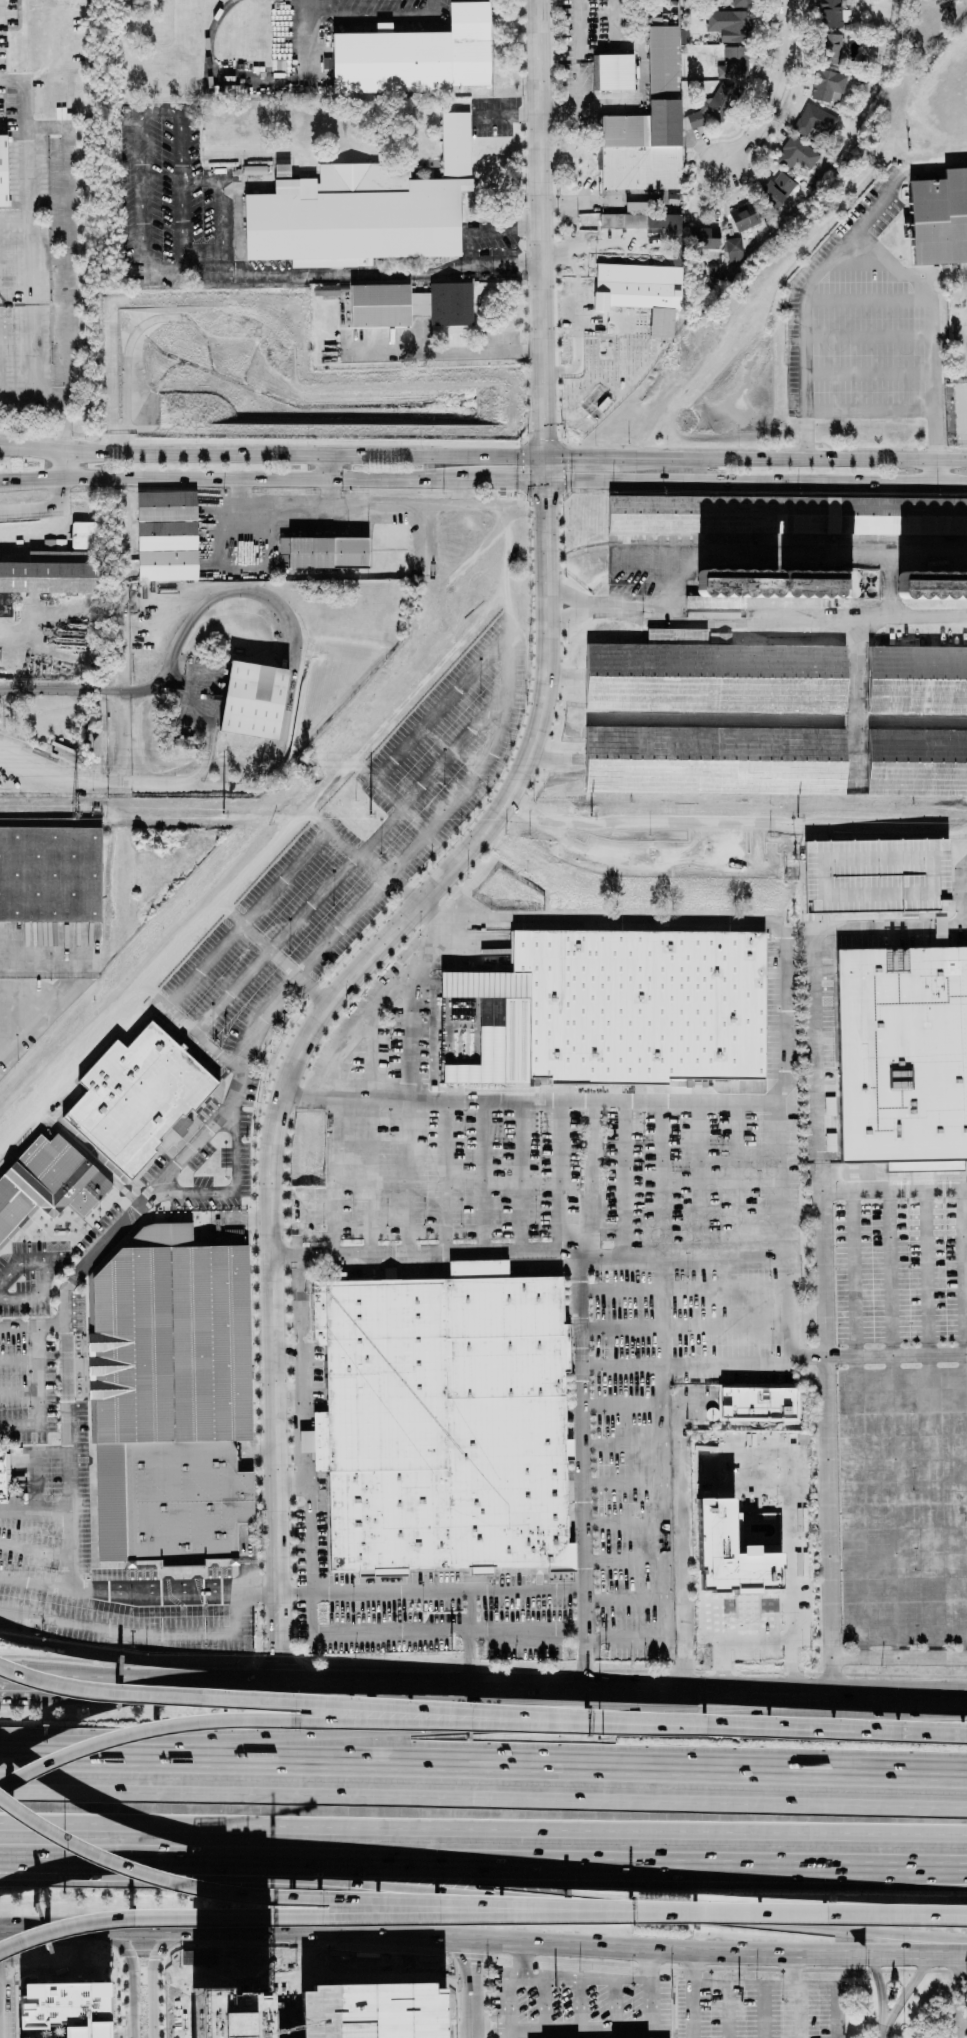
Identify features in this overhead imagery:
building: (743, 2)
building: (830, 13)
road: (367, 22)
building: (730, 25)
building: (830, 48)
building: (410, 58)
building: (734, 62)
building: (615, 71)
road: (237, 76)
building: (828, 85)
road: (778, 93)
building: (717, 102)
road: (574, 106)
building: (815, 121)
road: (889, 125)
building: (643, 127)
building: (796, 154)
building: (3, 170)
road: (540, 174)
road: (196, 182)
building: (778, 188)
building: (643, 206)
building: (360, 211)
building: (744, 216)
building: (642, 221)
building: (940, 221)
road: (14, 226)
road: (488, 230)
road: (67, 242)
road: (29, 243)
building: (734, 249)
road: (201, 271)
road: (907, 271)
road: (575, 279)
building: (631, 284)
building: (322, 289)
road: (805, 292)
building: (403, 306)
road: (849, 347)
road: (878, 350)
road: (445, 351)
road: (575, 354)
road: (930, 379)
road: (17, 397)
road: (542, 402)
park: (961, 417)
road: (64, 424)
traffic signals: (544, 437)
road: (272, 455)
traffic signals: (570, 456)
road: (582, 456)
road: (793, 458)
road: (61, 465)
road: (326, 466)
road: (544, 468)
road: (234, 477)
road: (506, 480)
traffic signals: (520, 481)
road: (755, 481)
traffic signals: (545, 498)
road: (324, 506)
road: (44, 507)
building: (785, 514)
road: (544, 516)
building: (84, 535)
building: (166, 536)
building: (325, 552)
road: (791, 552)
building: (52, 571)
road: (888, 582)
building: (932, 584)
building: (773, 585)
road: (436, 589)
road: (509, 610)
road: (755, 610)
road: (285, 660)
building: (713, 675)
building: (917, 679)
building: (255, 701)
road: (440, 708)
road: (208, 713)
building: (714, 759)
building: (917, 761)
road: (326, 786)
road: (404, 811)
power tower: (75, 813)
power tower: (223, 813)
power tower: (369, 814)
power tower: (591, 815)
power tower: (798, 817)
road: (432, 821)
road: (341, 845)
parking lot: (347, 859)
road: (348, 863)
building: (50, 874)
building: (877, 876)
road: (966, 889)
road: (244, 918)
road: (596, 920)
road: (256, 941)
road: (42, 952)
road: (369, 1008)
building: (621, 1012)
road: (32, 1016)
road: (189, 1030)
road: (407, 1032)
building: (901, 1056)
road: (71, 1063)
road: (283, 1075)
building: (137, 1097)
road: (640, 1101)
road: (71, 1104)
road: (369, 1130)
road: (173, 1133)
road: (200, 1138)
road: (69, 1140)
road: (94, 1151)
parking lot: (521, 1154)
road: (329, 1173)
road: (407, 1175)
road: (442, 1175)
road: (482, 1175)
road: (518, 1175)
road: (557, 1175)
building: (38, 1178)
road: (659, 1180)
road: (698, 1180)
road: (734, 1180)
road: (592, 1181)
road: (621, 1181)
road: (137, 1185)
building: (82, 1189)
road: (123, 1190)
road: (232, 1191)
road: (897, 1191)
road: (149, 1196)
building: (6, 1223)
road: (293, 1224)
road: (67, 1238)
road: (602, 1261)
road: (964, 1271)
road: (888, 1272)
road: (925, 1272)
road: (856, 1273)
road: (42, 1275)
road: (677, 1287)
road: (673, 1313)
road: (679, 1330)
road: (783, 1331)
road: (259, 1335)
road: (899, 1353)
road: (16, 1359)
road: (684, 1366)
road: (305, 1372)
road: (33, 1373)
road: (16, 1390)
building: (171, 1401)
building: (754, 1404)
road: (618, 1406)
parking lot: (653, 1417)
road: (16, 1422)
building: (454, 1427)
road: (831, 1442)
road: (618, 1444)
road: (257, 1454)
road: (261, 1455)
building: (2, 1476)
road: (577, 1477)
road: (620, 1481)
road: (25, 1484)
road: (89, 1496)
road: (791, 1504)
building: (736, 1510)
road: (34, 1513)
traffic signals: (61, 1514)
road: (621, 1521)
road: (263, 1527)
road: (69, 1531)
parking lot: (86, 1536)
road: (677, 1536)
road: (290, 1542)
road: (34, 1550)
building: (732, 1558)
road: (244, 1561)
road: (622, 1561)
traffic signals: (70, 1569)
road: (35, 1580)
traffic signals: (58, 1583)
traffic signals: (84, 1585)
road: (377, 1588)
road: (264, 1594)
road: (201, 1595)
road: (291, 1595)
road: (294, 1595)
road: (170, 1598)
road: (623, 1600)
parking lot: (424, 1604)
road: (312, 1611)
road: (446, 1625)
road: (265, 1627)
road: (136, 1633)
road: (761, 1636)
road: (467, 1637)
road: (622, 1639)
road: (292, 1641)
road: (240, 1665)
road: (255, 1665)
road: (279, 1666)
road: (337, 1666)
road: (19, 1683)
road: (502, 1689)
road: (293, 1702)
road: (288, 1720)
road: (450, 1728)
road: (778, 1728)
road: (483, 1762)
road: (483, 1797)
road: (483, 1828)
road: (82, 1862)
road: (566, 1864)
road: (330, 1898)
road: (566, 1903)
road: (795, 1913)
road: (938, 1913)
road: (938, 1914)
road: (338, 1916)
road: (483, 1938)
building: (200, 1957)
building: (240, 1960)
road: (135, 1980)
road: (586, 1980)
road: (153, 1981)
road: (508, 1983)
road: (743, 1985)
road: (469, 1987)
road: (880, 1990)
road: (962, 1990)
road: (802, 1991)
road: (905, 1991)
road: (691, 1994)
road: (957, 1995)
road: (834, 1996)
parking lot: (669, 2000)
road: (2, 2011)
road: (764, 2011)
building: (63, 2024)
road: (962, 2024)
road: (618, 2026)
road: (489, 2027)
road: (881, 2034)

